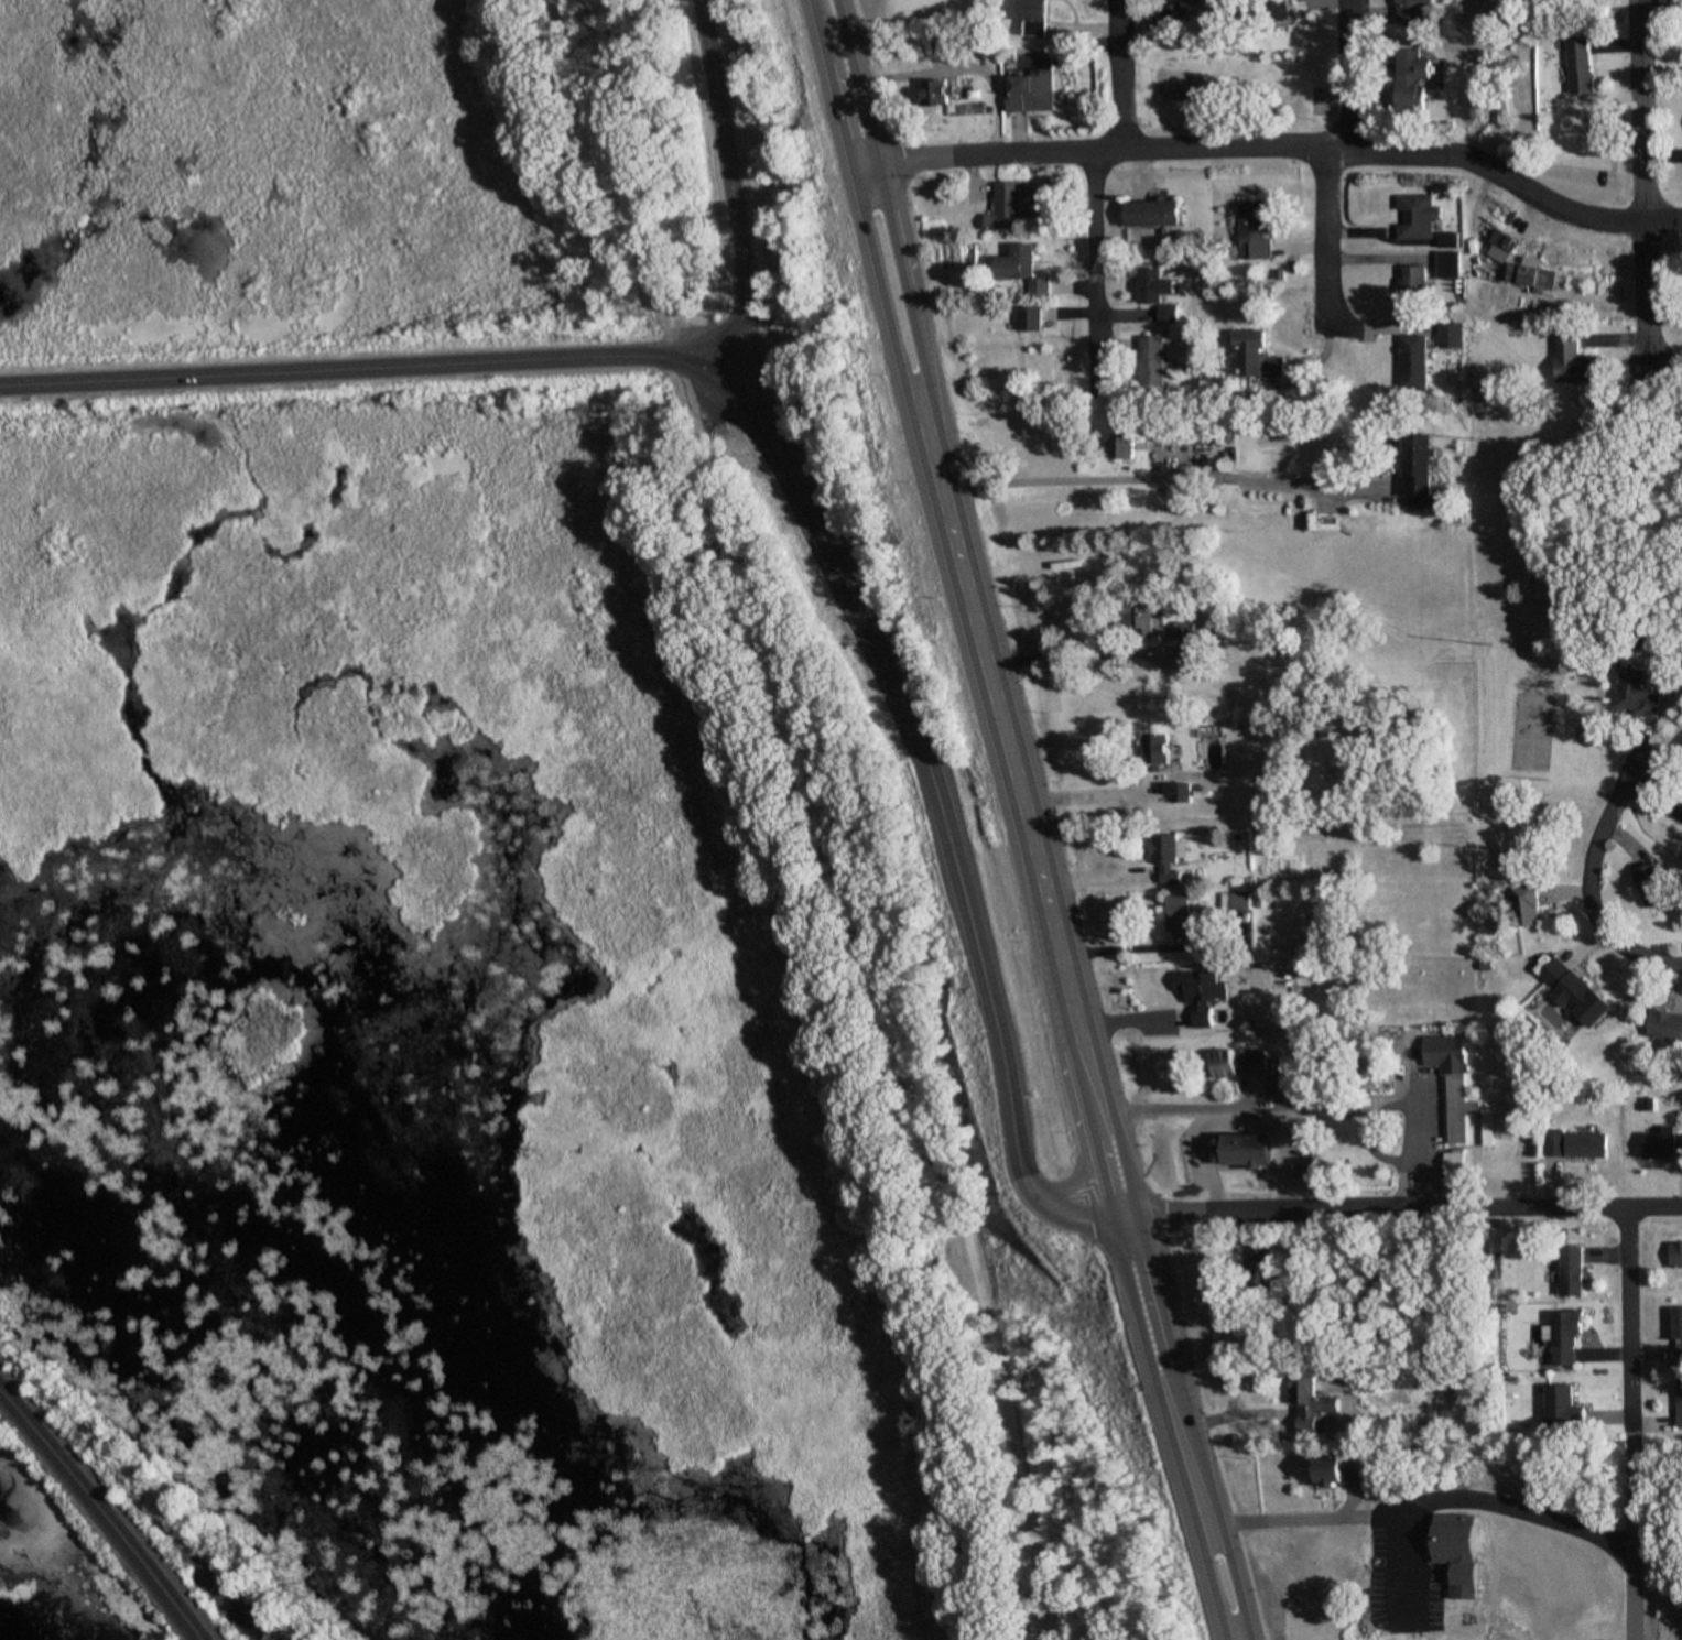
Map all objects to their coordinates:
building: (1194, 4)
building: (1273, 10)
building: (1413, 10)
building: (1034, 18)
building: (937, 44)
building: (1583, 67)
road: (1120, 73)
road: (1347, 79)
building: (1412, 85)
building: (1028, 91)
building: (933, 94)
road: (1219, 148)
road: (725, 189)
road: (1641, 193)
building: (1002, 207)
building: (1151, 211)
building: (1418, 216)
road: (1627, 220)
building: (1254, 230)
road: (900, 249)
road: (1323, 250)
road: (871, 252)
road: (1092, 259)
building: (1450, 264)
building: (1021, 268)
building: (1415, 282)
building: (1151, 290)
building: (1027, 317)
building: (1452, 334)
building: (1255, 355)
building: (1575, 358)
building: (1150, 360)
building: (1414, 361)
road: (757, 411)
building: (1184, 435)
building: (1120, 445)
building: (1418, 470)
road: (1642, 598)
building: (1140, 618)
building: (1181, 630)
road: (987, 691)
building: (1634, 694)
building: (1157, 746)
building: (1175, 789)
road: (1073, 795)
road: (833, 808)
building: (1164, 857)
building: (1650, 883)
road: (1584, 889)
building: (1529, 906)
building: (1179, 917)
road: (1052, 953)
building: (1574, 993)
building: (1194, 998)
building: (1663, 1027)
building: (1239, 1063)
road: (1051, 1075)
building: (1285, 1082)
building: (1452, 1085)
road: (1105, 1119)
road: (1082, 1121)
building: (1574, 1144)
building: (1662, 1144)
building: (1244, 1150)
building: (1451, 1164)
road: (1028, 1203)
road: (1406, 1206)
road: (1115, 1217)
building: (1675, 1252)
building: (1255, 1267)
building: (1569, 1271)
road: (1621, 1328)
building: (1676, 1333)
building: (1563, 1336)
building: (1395, 1379)
building: (1678, 1403)
building: (1307, 1407)
building: (1560, 1408)
road: (1190, 1427)
road: (1157, 1430)
building: (1338, 1474)
railway: (107, 1508)
road: (1344, 1512)
railway: (99, 1517)
road: (1620, 1546)
building: (1456, 1551)

